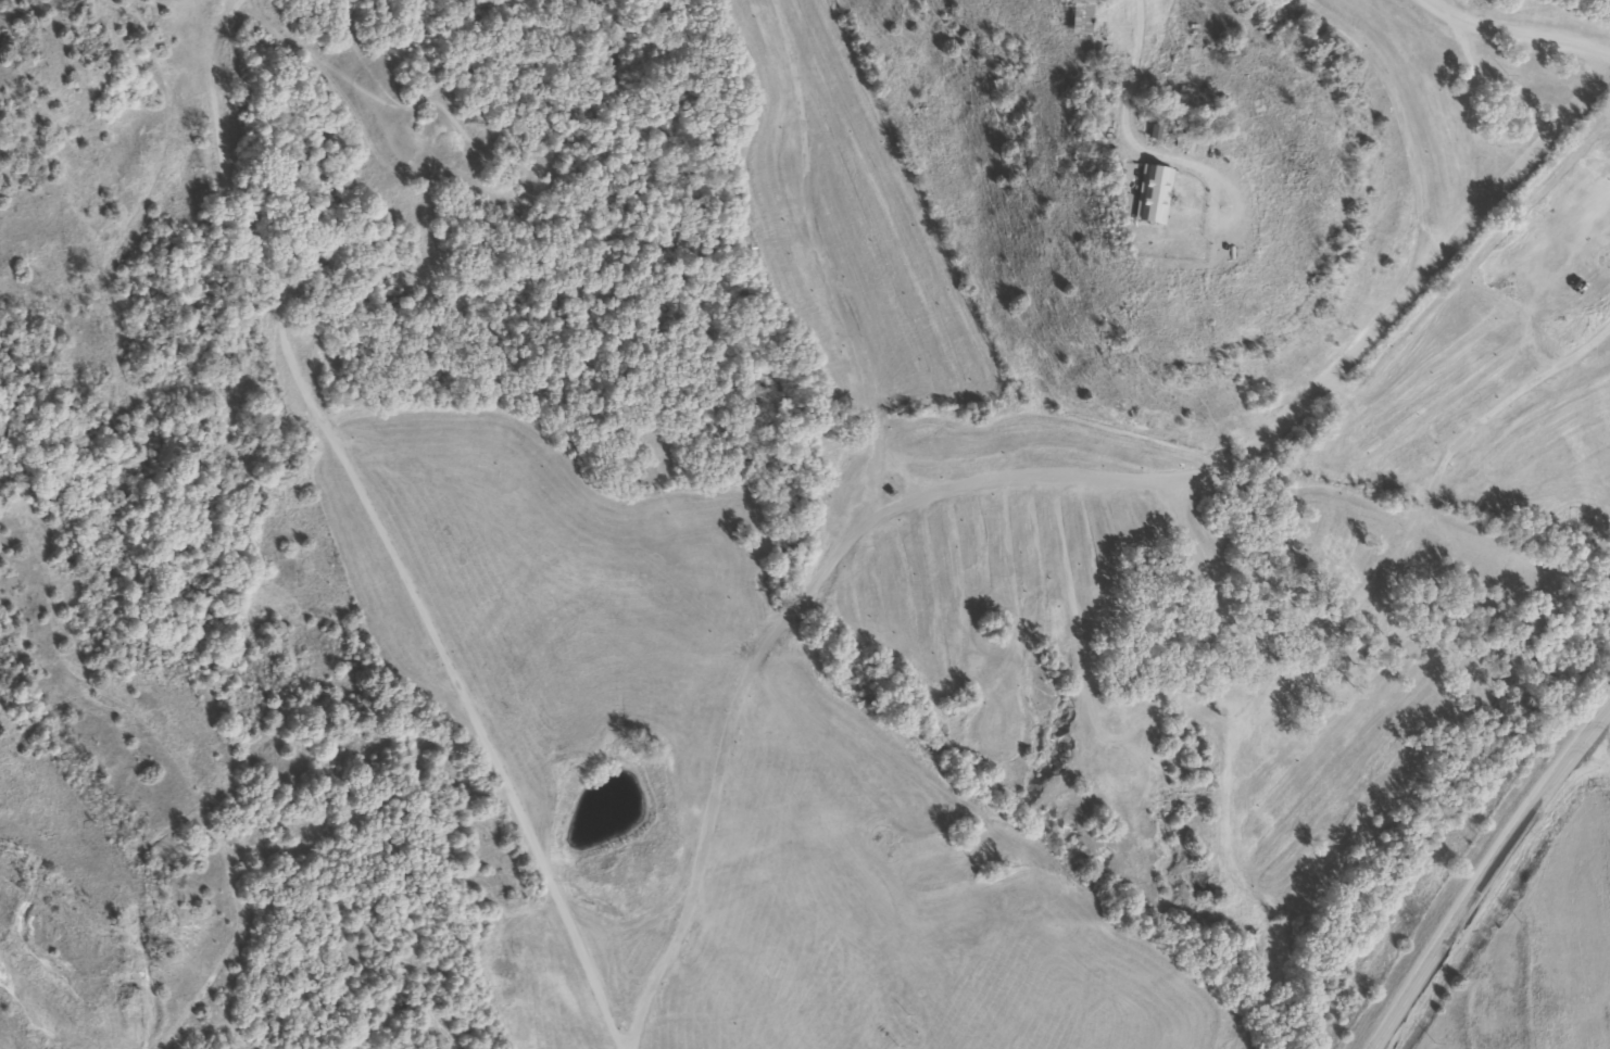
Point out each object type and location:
building: (1076, 16)
road: (1531, 27)
building: (1261, 104)
building: (1148, 194)
road: (1602, 732)
road: (1486, 873)

